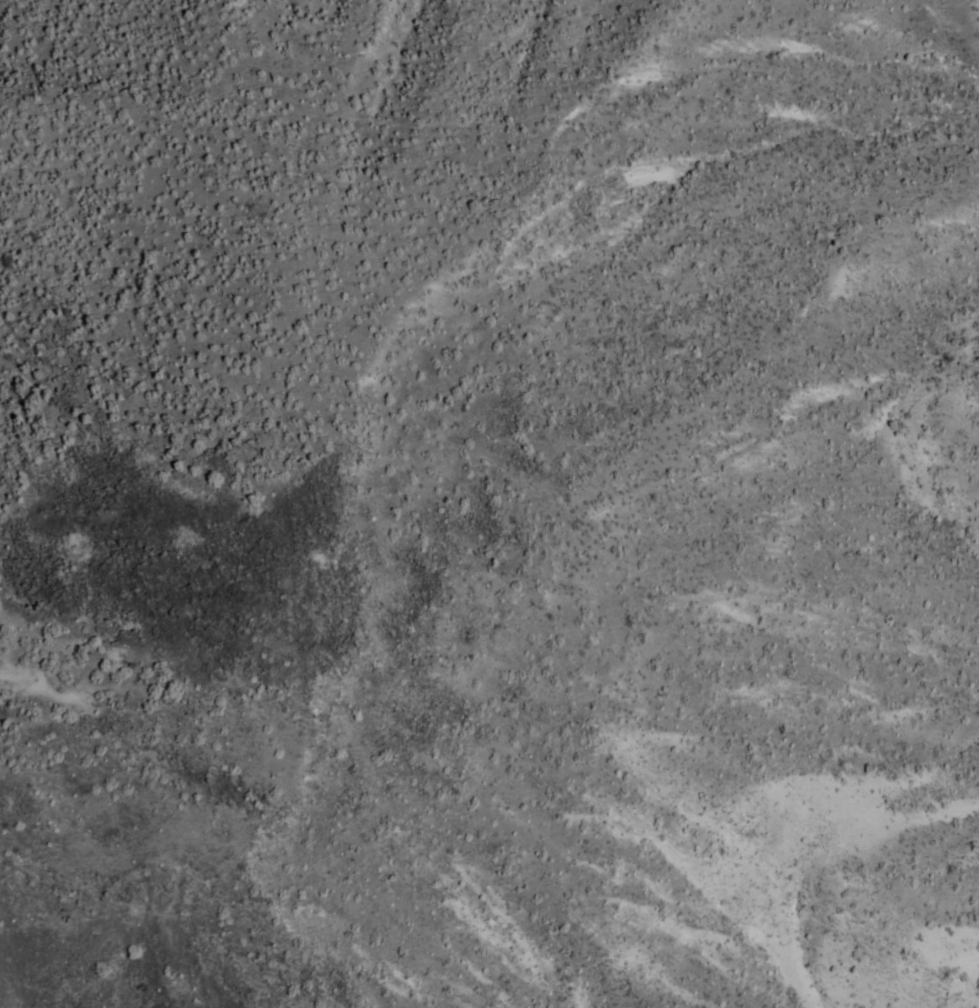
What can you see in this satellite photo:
road: (18, 695)

